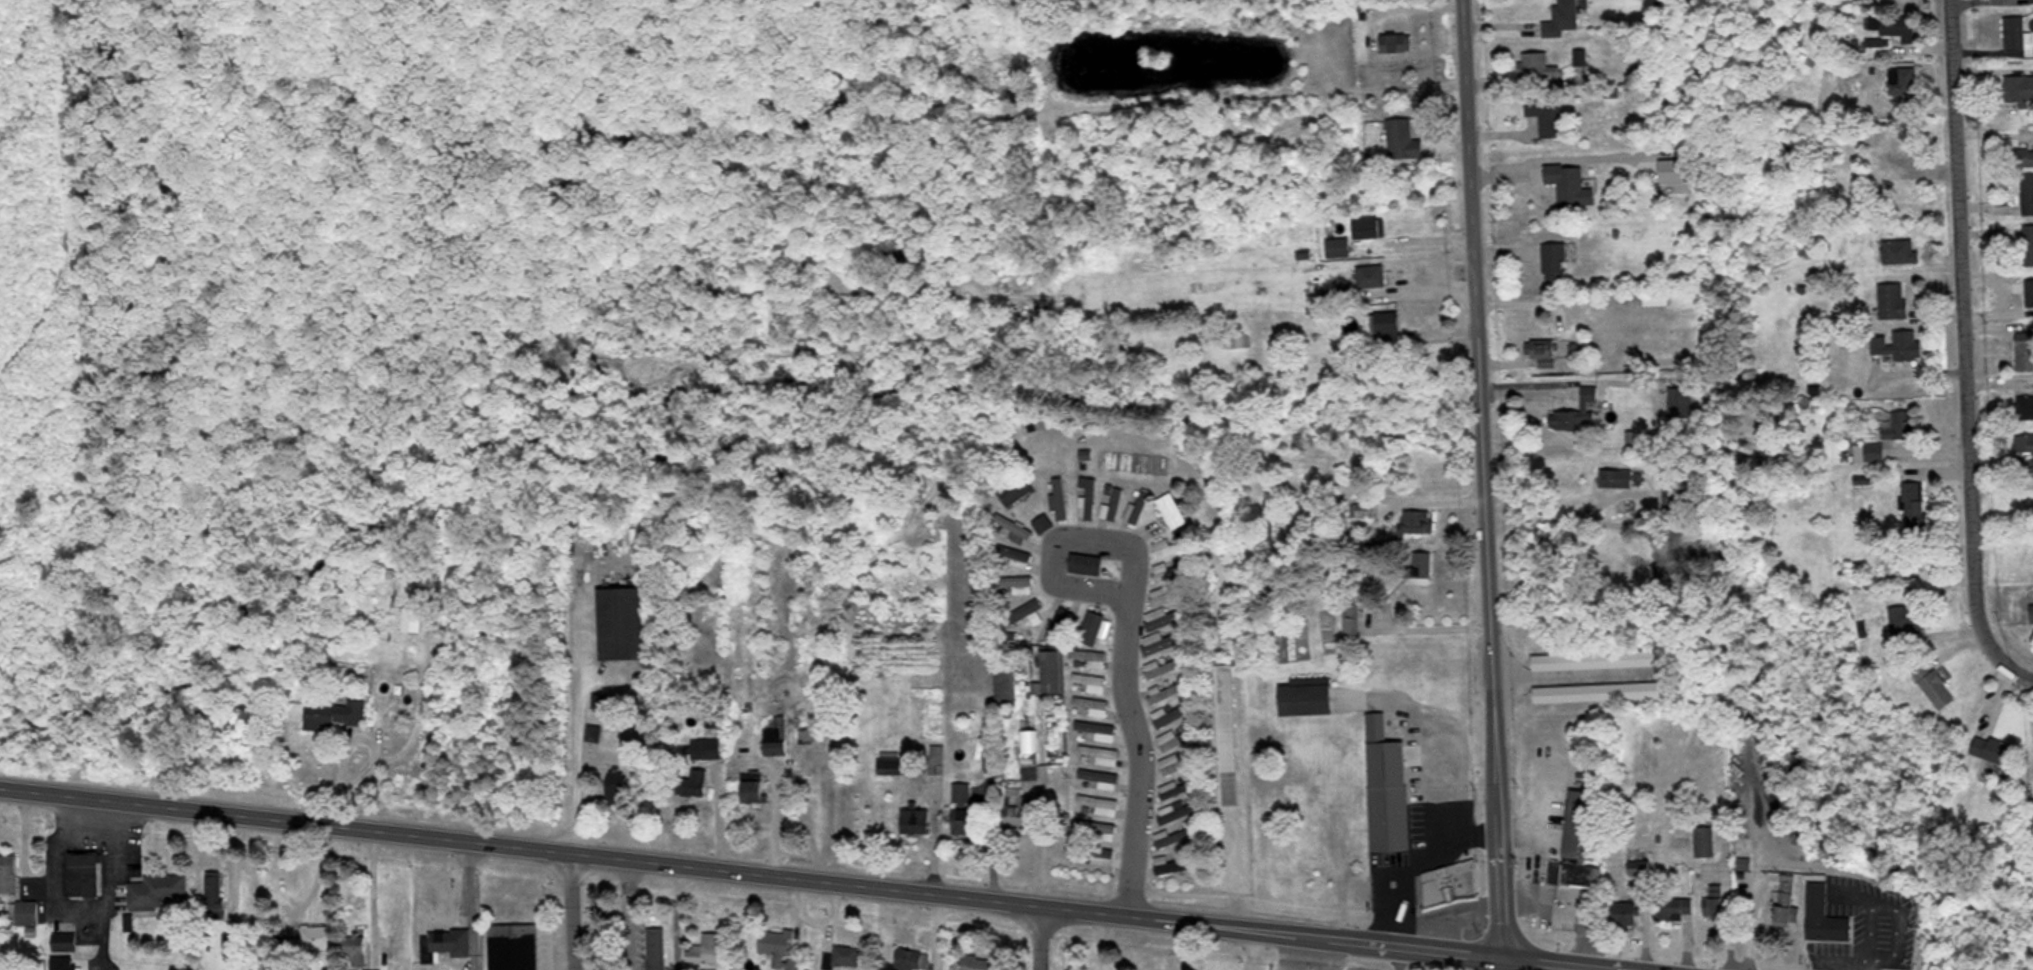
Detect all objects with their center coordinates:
building: (2031, 1)
building: (1561, 18)
building: (1892, 27)
building: (2017, 32)
building: (1396, 41)
building: (1537, 65)
building: (1903, 79)
building: (2019, 88)
building: (1546, 112)
building: (1403, 138)
building: (2022, 156)
building: (1876, 170)
building: (1567, 182)
building: (2027, 193)
building: (1902, 198)
building: (1369, 227)
building: (1338, 247)
building: (1900, 251)
building: (1554, 261)
building: (1371, 275)
building: (2029, 292)
building: (1655, 297)
building: (1892, 299)
building: (1386, 322)
building: (1895, 346)
building: (1552, 347)
building: (2024, 350)
road: (1960, 353)
building: (1680, 401)
building: (2024, 406)
building: (1576, 410)
building: (1901, 424)
building: (2024, 442)
building: (1869, 451)
building: (1617, 476)
road: (1481, 484)
building: (1016, 488)
building: (1087, 497)
building: (1059, 499)
building: (1112, 501)
building: (1914, 504)
building: (1137, 507)
building: (1361, 508)
building: (1172, 509)
building: (1418, 520)
building: (1043, 522)
building: (1014, 528)
building: (1169, 546)
building: (1086, 563)
building: (1419, 568)
building: (1168, 570)
road: (1089, 571)
building: (1014, 583)
building: (1166, 593)
building: (2032, 612)
building: (1027, 615)
building: (413, 618)
building: (1164, 618)
building: (1351, 619)
building: (1907, 621)
building: (622, 622)
building: (1060, 625)
building: (1092, 627)
building: (1164, 641)
building: (1606, 659)
building: (1162, 666)
building: (1052, 671)
building: (1092, 681)
building: (1934, 685)
building: (1005, 687)
building: (1166, 691)
building: (1607, 691)
building: (1323, 698)
building: (1090, 705)
building: (336, 714)
building: (1170, 714)
building: (777, 727)
building: (1098, 729)
building: (594, 732)
building: (1223, 734)
building: (1172, 738)
building: (706, 747)
building: (776, 747)
building: (1997, 749)
building: (1029, 753)
building: (1100, 753)
building: (937, 754)
building: (890, 762)
building: (1172, 763)
building: (1100, 777)
building: (692, 782)
building: (617, 785)
building: (753, 786)
building: (1176, 787)
building: (1387, 787)
building: (961, 791)
road: (1123, 799)
building: (1100, 803)
building: (1017, 807)
building: (1177, 809)
building: (915, 820)
building: (965, 820)
building: (1096, 828)
building: (1173, 835)
building: (1583, 839)
building: (1705, 840)
building: (1100, 854)
building: (1176, 864)
building: (8, 872)
building: (83, 874)
road: (811, 878)
building: (1450, 883)
building: (156, 889)
building: (214, 889)
building: (1715, 900)
building: (1787, 902)
building: (1675, 907)
road: (568, 910)
building: (23, 911)
building: (1626, 912)
road: (83, 914)
building: (1825, 916)
road: (1037, 936)
building: (315, 939)
building: (63, 940)
building: (445, 943)
building: (513, 946)
building: (356, 947)
building: (779, 947)
building: (656, 948)
building: (705, 948)
building: (842, 957)
building: (914, 959)
building: (976, 962)
building: (65, 963)

